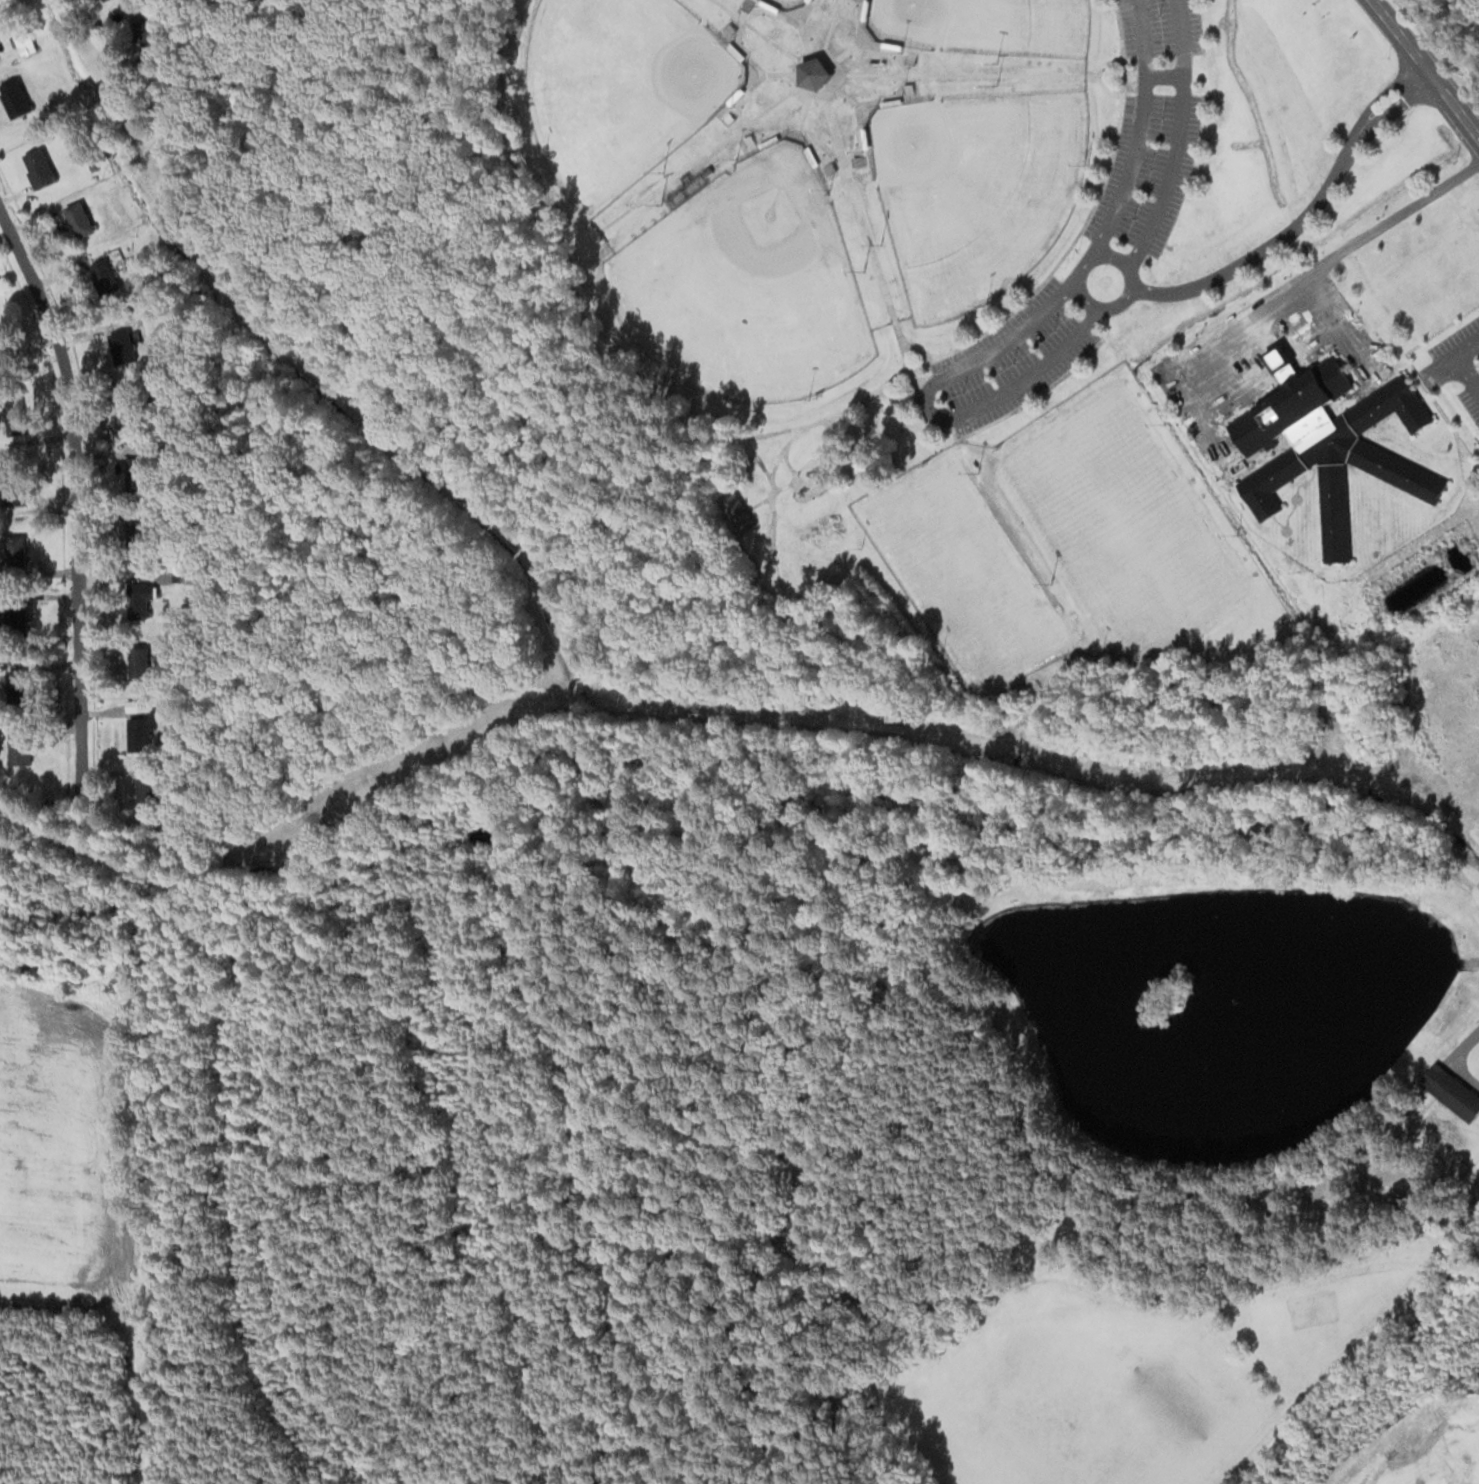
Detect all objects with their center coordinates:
park: (788, 3)
road: (831, 24)
park: (984, 25)
parking lot: (1161, 27)
building: (153, 29)
road: (755, 29)
road: (739, 34)
building: (21, 36)
road: (805, 41)
building: (0, 50)
road: (844, 52)
road: (1110, 67)
road: (781, 73)
road: (1424, 73)
building: (816, 74)
road: (966, 74)
road: (1164, 75)
road: (904, 81)
road: (1110, 81)
road: (833, 83)
park: (621, 89)
road: (844, 95)
building: (13, 97)
road: (804, 106)
road: (800, 121)
road: (1139, 132)
road: (1177, 138)
road: (698, 158)
building: (37, 167)
parking lot: (1149, 169)
park: (975, 191)
building: (77, 219)
road: (1302, 219)
road: (1084, 224)
road: (870, 246)
building: (144, 256)
road: (1096, 256)
building: (105, 270)
park: (747, 284)
building: (119, 347)
road: (919, 350)
parking lot: (1013, 359)
road: (1034, 398)
road: (854, 406)
road: (930, 410)
building: (1327, 442)
building: (12, 489)
road: (74, 501)
road: (995, 510)
building: (736, 513)
park: (1124, 523)
building: (132, 526)
building: (11, 551)
park: (959, 568)
building: (136, 599)
building: (25, 665)
building: (138, 726)
building: (18, 747)
building: (145, 792)
building: (1451, 1092)

